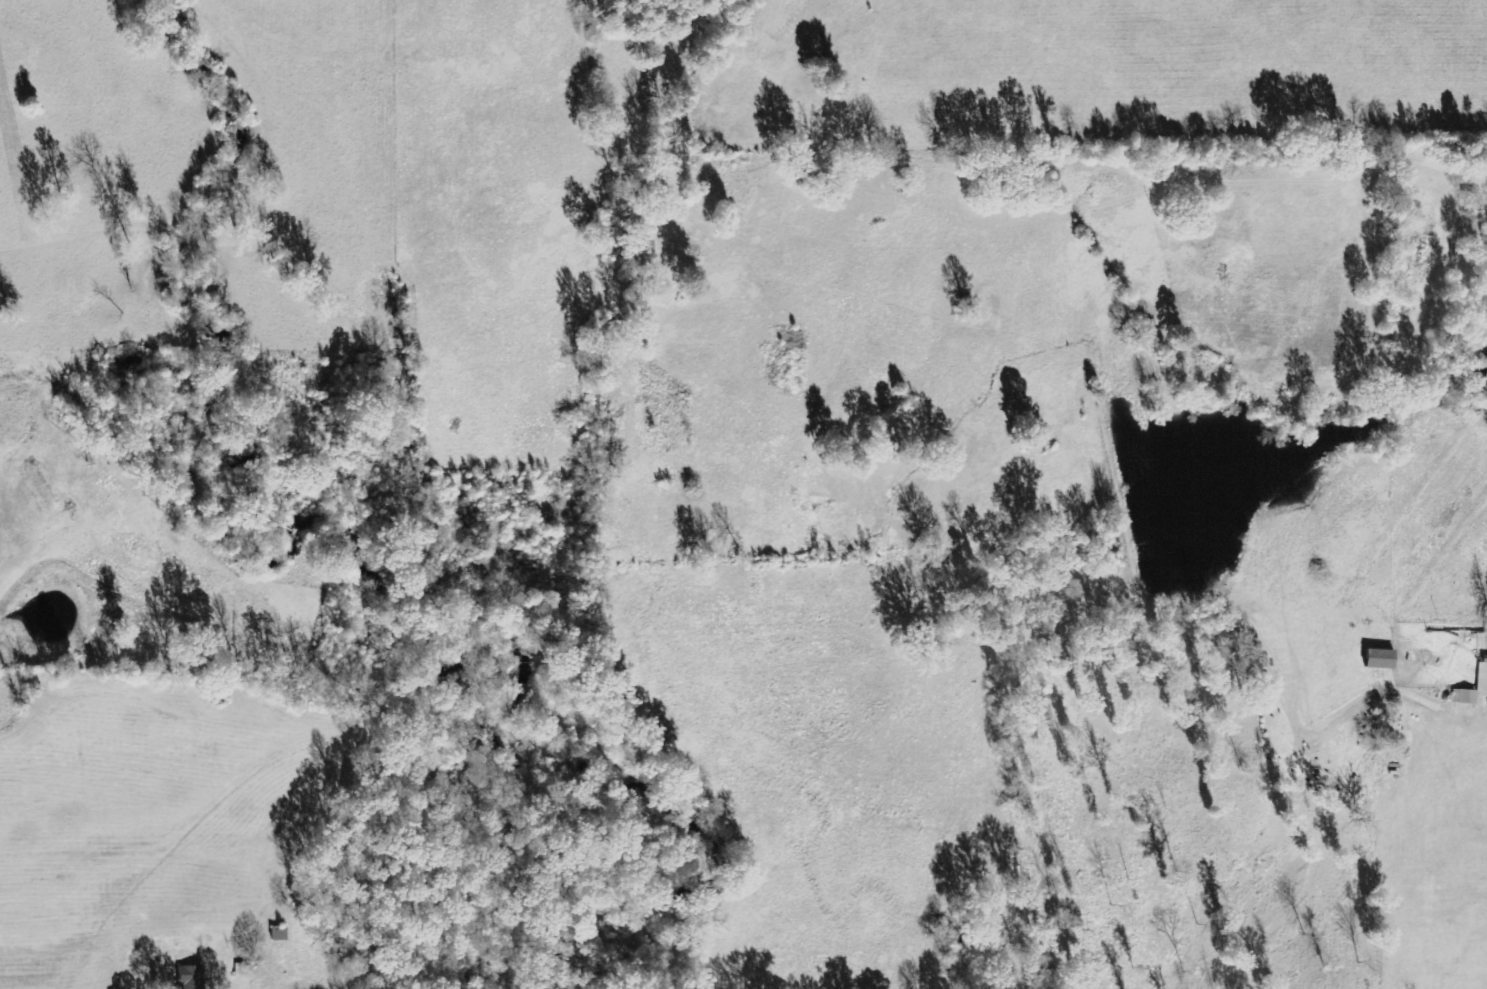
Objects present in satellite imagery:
building: (1374, 660)
building: (1480, 676)
building: (1461, 697)
building: (195, 977)

